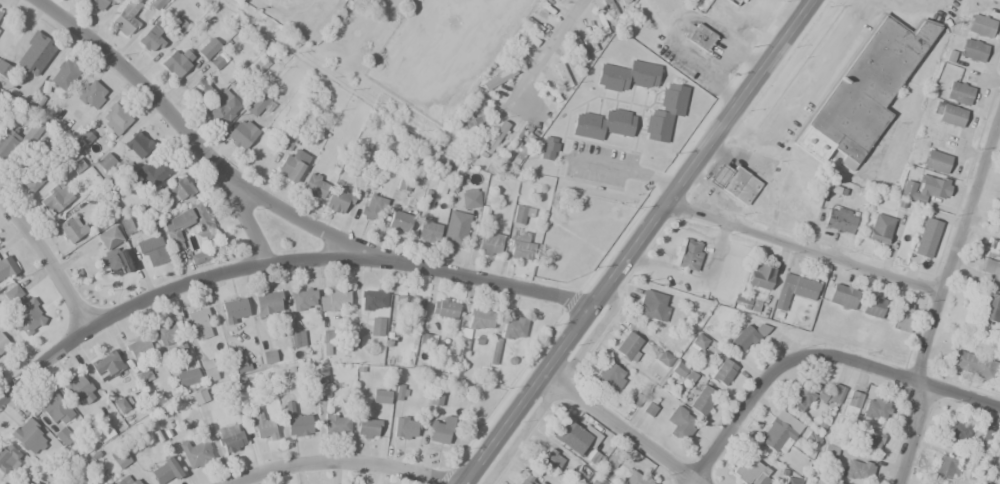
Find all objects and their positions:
building: (999, 0)
building: (624, 1)
building: (735, 2)
building: (156, 3)
building: (101, 4)
building: (609, 7)
building: (0, 13)
building: (125, 18)
building: (603, 24)
building: (533, 25)
building: (980, 26)
building: (527, 35)
building: (699, 36)
building: (151, 40)
building: (209, 48)
building: (973, 49)
building: (579, 51)
building: (35, 55)
building: (178, 61)
building: (216, 63)
building: (5, 69)
building: (65, 74)
building: (561, 74)
building: (642, 74)
building: (501, 76)
building: (612, 77)
building: (199, 90)
building: (863, 91)
building: (959, 93)
building: (91, 94)
building: (673, 99)
building: (258, 106)
building: (469, 106)
building: (222, 108)
building: (948, 114)
road: (170, 115)
building: (115, 118)
building: (470, 120)
building: (618, 122)
building: (657, 125)
building: (588, 126)
building: (242, 133)
building: (18, 137)
building: (83, 139)
building: (494, 139)
building: (138, 144)
building: (549, 148)
building: (291, 157)
building: (105, 161)
building: (936, 161)
building: (152, 172)
building: (32, 180)
building: (734, 184)
building: (315, 185)
building: (924, 188)
building: (177, 189)
building: (55, 197)
building: (470, 198)
building: (337, 200)
building: (372, 209)
building: (521, 213)
building: (998, 216)
road: (299, 218)
building: (399, 219)
building: (839, 220)
building: (126, 226)
building: (72, 228)
building: (456, 228)
building: (429, 229)
building: (880, 229)
building: (209, 234)
building: (927, 237)
road: (631, 240)
building: (490, 242)
building: (521, 245)
road: (799, 246)
building: (992, 247)
building: (151, 248)
building: (111, 252)
building: (687, 255)
building: (199, 256)
road: (277, 261)
road: (47, 262)
building: (7, 268)
building: (760, 276)
building: (794, 289)
building: (990, 291)
building: (843, 295)
road: (938, 295)
building: (303, 299)
building: (334, 299)
building: (373, 300)
building: (268, 303)
building: (407, 304)
building: (873, 304)
building: (654, 305)
building: (444, 308)
building: (23, 310)
building: (235, 310)
building: (901, 316)
building: (480, 319)
building: (200, 324)
building: (377, 326)
building: (513, 327)
building: (747, 336)
building: (328, 338)
building: (170, 339)
building: (294, 339)
building: (699, 341)
building: (3, 343)
building: (460, 345)
building: (629, 347)
building: (139, 348)
building: (494, 351)
road: (817, 354)
building: (269, 357)
building: (664, 359)
building: (973, 364)
building: (106, 365)
building: (209, 370)
building: (684, 372)
building: (723, 372)
building: (185, 377)
building: (611, 377)
building: (143, 378)
building: (321, 381)
building: (79, 388)
building: (401, 392)
building: (835, 393)
building: (381, 396)
building: (436, 397)
building: (801, 398)
building: (703, 400)
building: (121, 406)
building: (867, 406)
building: (55, 409)
building: (103, 409)
building: (649, 409)
building: (296, 421)
building: (679, 423)
building: (336, 424)
building: (260, 425)
building: (406, 427)
road: (618, 427)
building: (368, 428)
building: (441, 430)
building: (958, 433)
building: (775, 434)
building: (28, 436)
building: (63, 436)
building: (576, 436)
building: (230, 438)
building: (869, 439)
building: (986, 440)
building: (996, 452)
building: (195, 454)
building: (7, 457)
building: (120, 457)
road: (344, 461)
building: (550, 461)
building: (979, 467)
building: (854, 468)
building: (945, 468)
building: (165, 471)
building: (751, 472)
building: (576, 477)
building: (637, 478)
building: (76, 479)
building: (128, 479)
building: (528, 480)
building: (792, 480)
building: (595, 481)
building: (35, 483)

